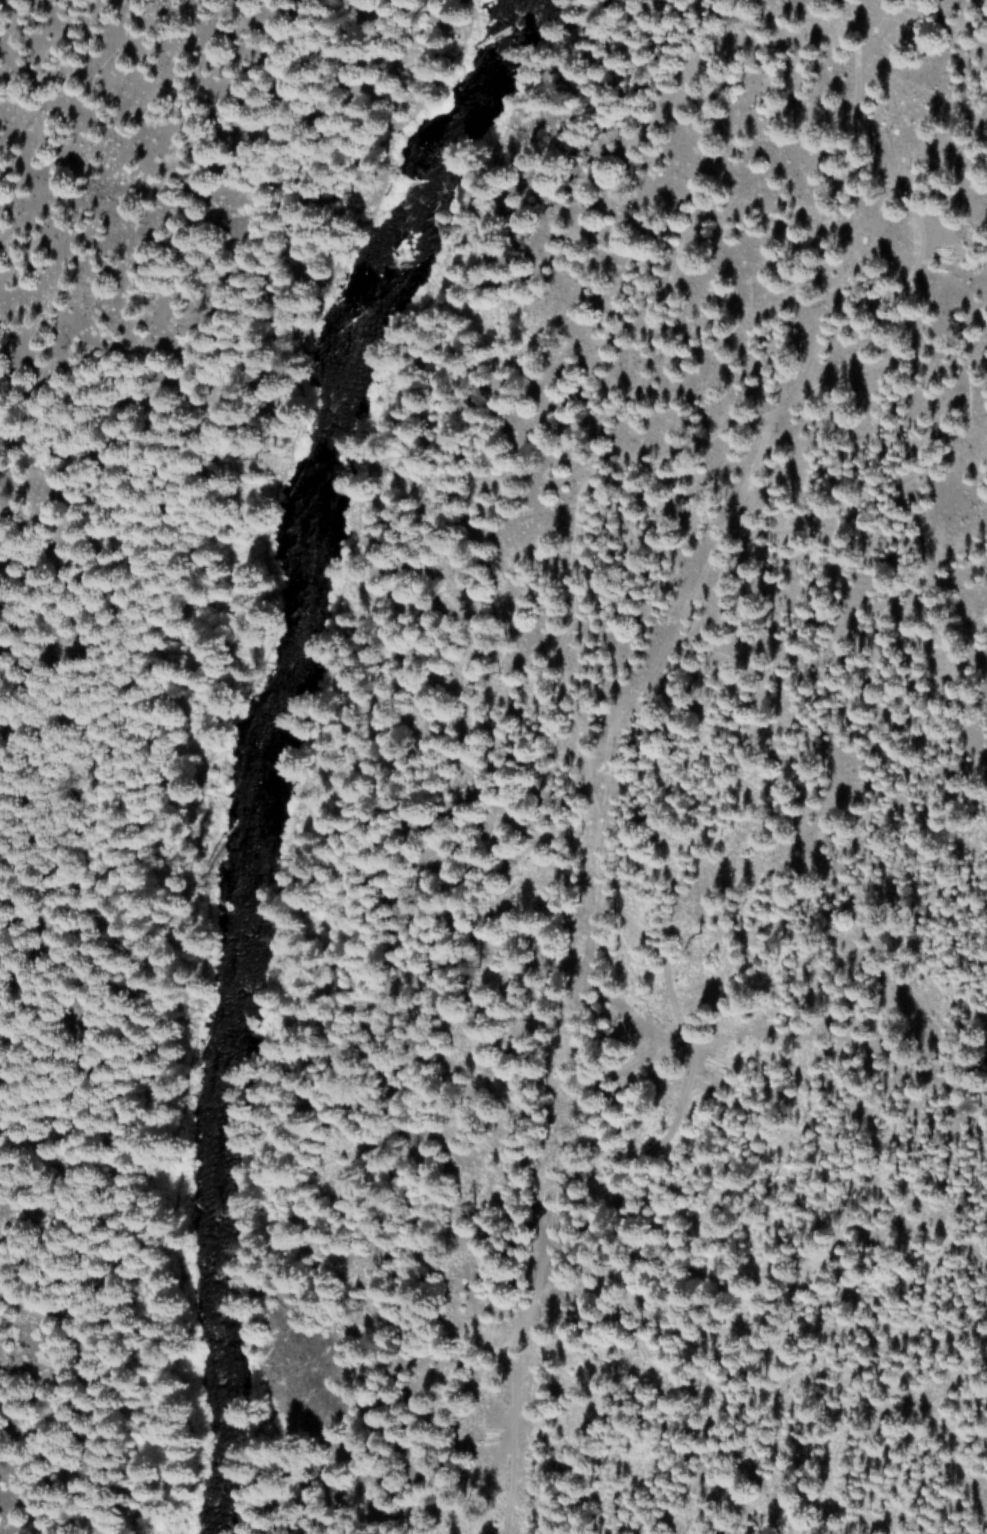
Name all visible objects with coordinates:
road: (320, 747)
road: (210, 750)
river: (272, 751)

